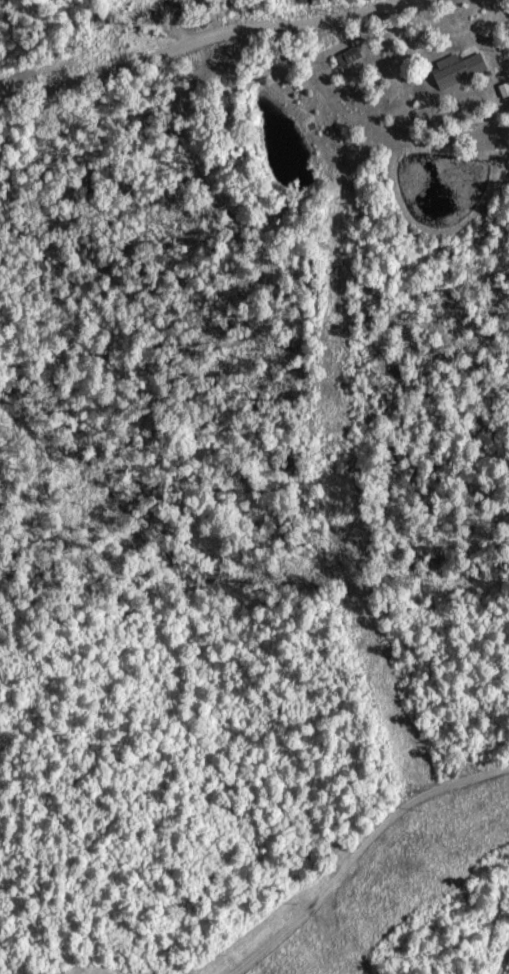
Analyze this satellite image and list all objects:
road: (196, 40)
building: (465, 68)

